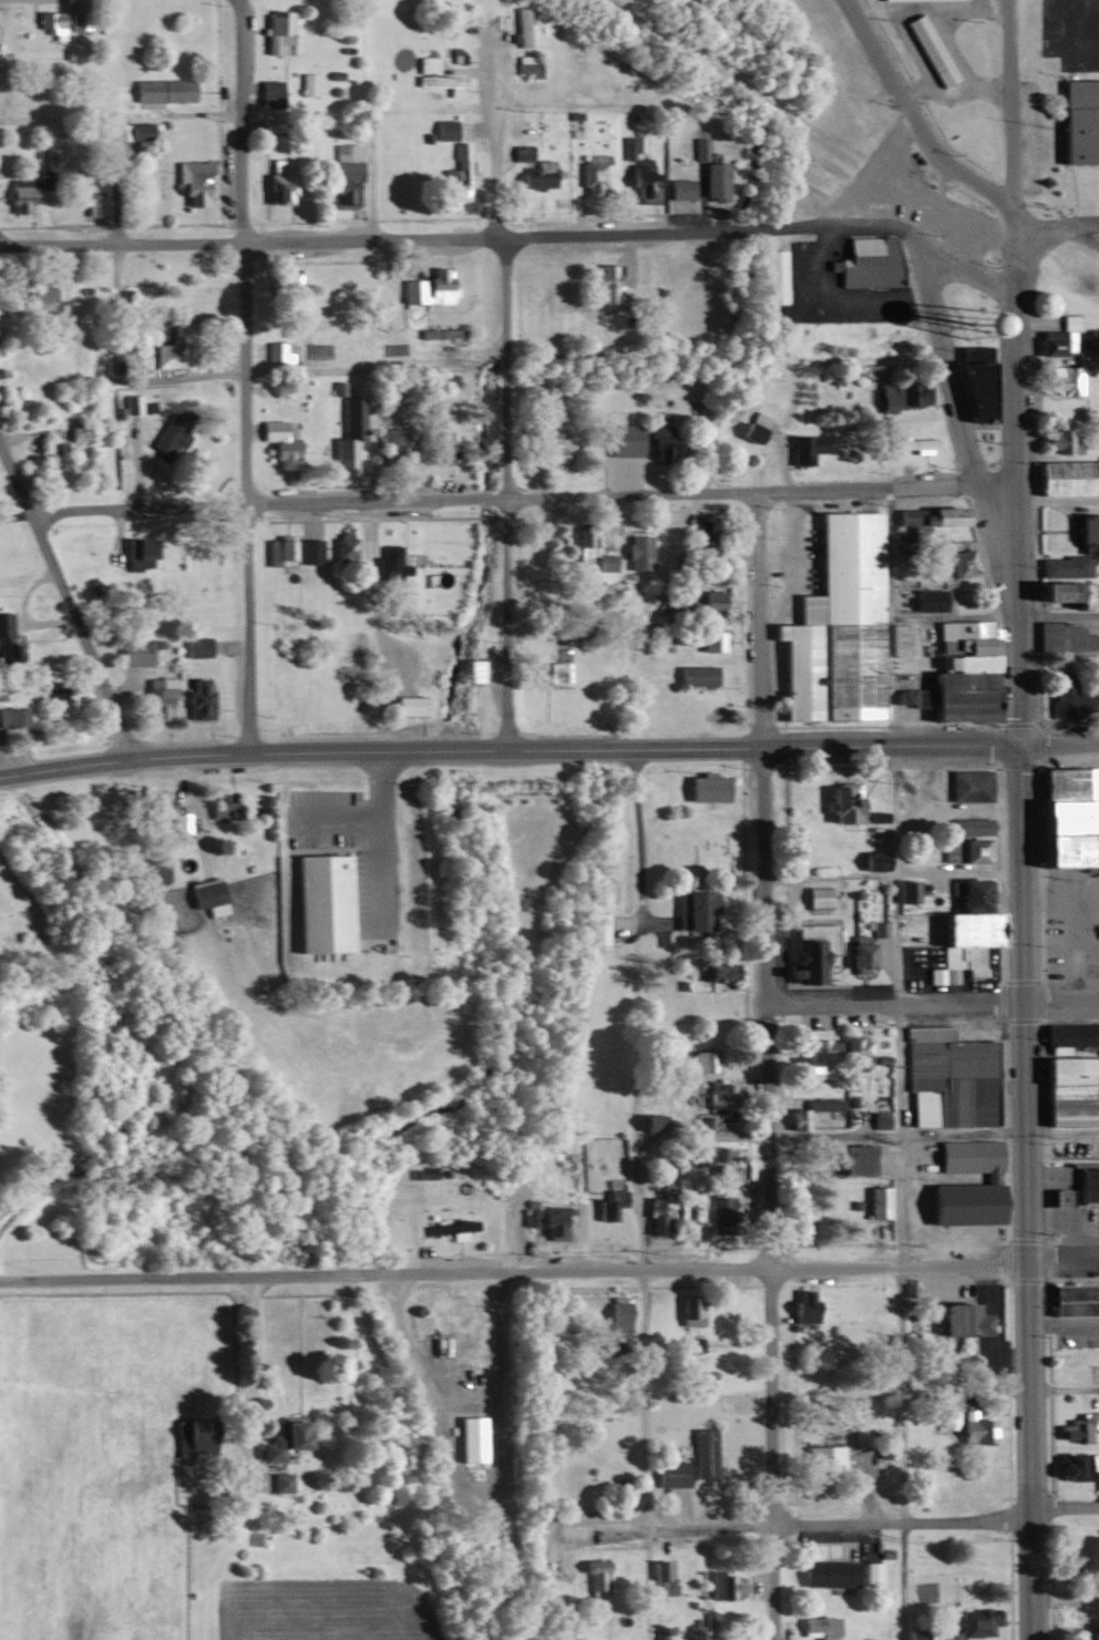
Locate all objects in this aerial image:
road: (236, 4)
building: (53, 23)
building: (523, 25)
building: (927, 50)
building: (528, 63)
building: (425, 64)
building: (441, 82)
building: (308, 83)
building: (158, 89)
road: (1008, 105)
road: (912, 117)
building: (1077, 120)
building: (443, 129)
building: (133, 132)
building: (630, 146)
building: (697, 146)
building: (517, 152)
road: (491, 160)
road: (861, 168)
building: (456, 173)
building: (343, 174)
building: (535, 174)
building: (592, 175)
building: (192, 180)
building: (710, 180)
building: (643, 182)
building: (276, 185)
building: (677, 188)
building: (84, 192)
building: (19, 194)
road: (1029, 225)
road: (1072, 227)
road: (767, 230)
road: (497, 239)
road: (245, 243)
building: (866, 262)
road: (1027, 265)
building: (771, 276)
building: (605, 284)
building: (427, 287)
building: (283, 289)
building: (35, 297)
road: (113, 305)
building: (438, 331)
building: (1055, 337)
building: (276, 352)
building: (170, 355)
road: (756, 362)
building: (871, 369)
road: (368, 375)
road: (242, 376)
building: (976, 378)
building: (1061, 379)
building: (900, 391)
building: (131, 403)
road: (955, 423)
building: (350, 431)
building: (635, 440)
building: (1059, 440)
building: (280, 441)
building: (913, 443)
building: (443, 445)
building: (804, 447)
building: (549, 448)
building: (52, 454)
building: (1065, 476)
road: (1013, 478)
road: (992, 489)
road: (505, 494)
road: (500, 501)
building: (942, 536)
building: (583, 545)
building: (339, 547)
building: (138, 550)
building: (306, 550)
building: (279, 552)
building: (636, 552)
building: (606, 562)
building: (387, 564)
building: (1067, 566)
road: (66, 599)
building: (925, 599)
building: (702, 601)
building: (397, 606)
road: (1057, 614)
building: (2, 623)
road: (756, 623)
building: (834, 623)
building: (1060, 635)
building: (708, 639)
building: (901, 639)
building: (196, 646)
building: (135, 650)
building: (955, 667)
building: (471, 670)
building: (553, 670)
building: (695, 675)
building: (55, 690)
building: (905, 696)
building: (157, 697)
building: (196, 700)
building: (1070, 700)
building: (409, 705)
building: (14, 716)
road: (1058, 745)
road: (507, 749)
building: (966, 785)
building: (702, 787)
building: (841, 803)
building: (163, 810)
road: (193, 814)
building: (965, 824)
building: (792, 842)
building: (963, 849)
road: (890, 871)
building: (906, 890)
building: (966, 892)
building: (205, 895)
building: (814, 898)
building: (316, 903)
building: (691, 910)
building: (598, 927)
building: (956, 946)
building: (808, 951)
building: (856, 956)
building: (716, 971)
road: (894, 1007)
road: (1060, 1007)
road: (893, 1008)
building: (814, 1044)
building: (851, 1053)
building: (699, 1060)
building: (946, 1077)
building: (1068, 1090)
building: (721, 1093)
building: (797, 1119)
building: (880, 1119)
building: (708, 1125)
road: (674, 1136)
building: (966, 1156)
building: (849, 1159)
building: (719, 1162)
road: (1025, 1192)
road: (769, 1195)
building: (1052, 1198)
building: (690, 1202)
building: (876, 1202)
building: (958, 1203)
building: (606, 1207)
building: (715, 1214)
building: (650, 1216)
building: (543, 1220)
road: (1061, 1260)
road: (512, 1270)
building: (1072, 1300)
building: (798, 1308)
building: (686, 1310)
building: (956, 1320)
road: (442, 1331)
building: (691, 1344)
road: (253, 1355)
road: (1061, 1386)
building: (1077, 1427)
building: (970, 1428)
building: (187, 1438)
building: (470, 1438)
building: (274, 1442)
building: (699, 1453)
building: (821, 1457)
building: (667, 1473)
building: (277, 1482)
road: (1061, 1508)
road: (788, 1524)
building: (1080, 1552)
building: (823, 1572)
building: (870, 1574)
building: (660, 1577)
building: (595, 1580)
road: (902, 1581)
building: (722, 1585)
building: (972, 1623)
building: (810, 1626)

